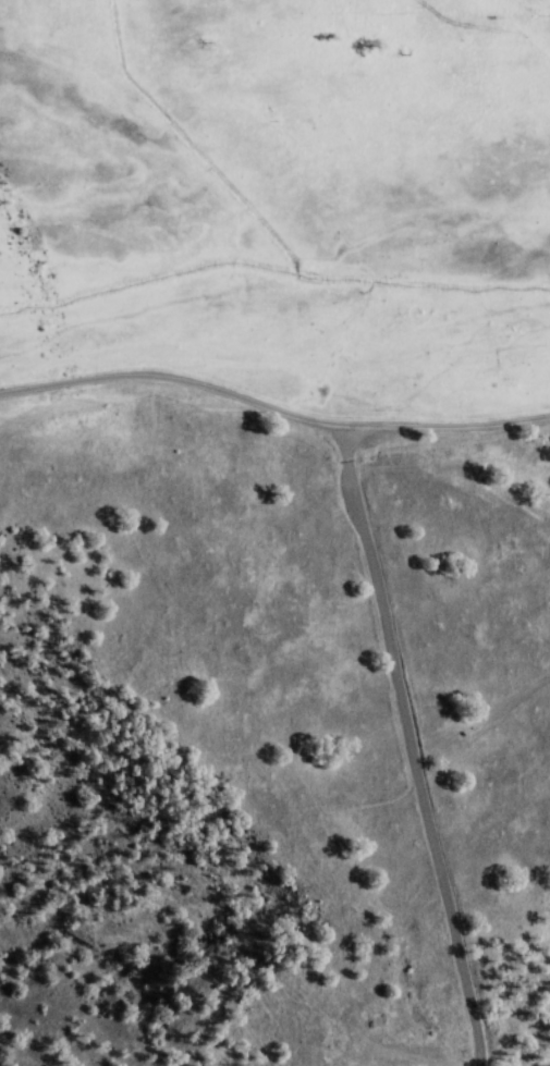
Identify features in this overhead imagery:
road: (76, 383)
road: (347, 428)
road: (403, 747)

